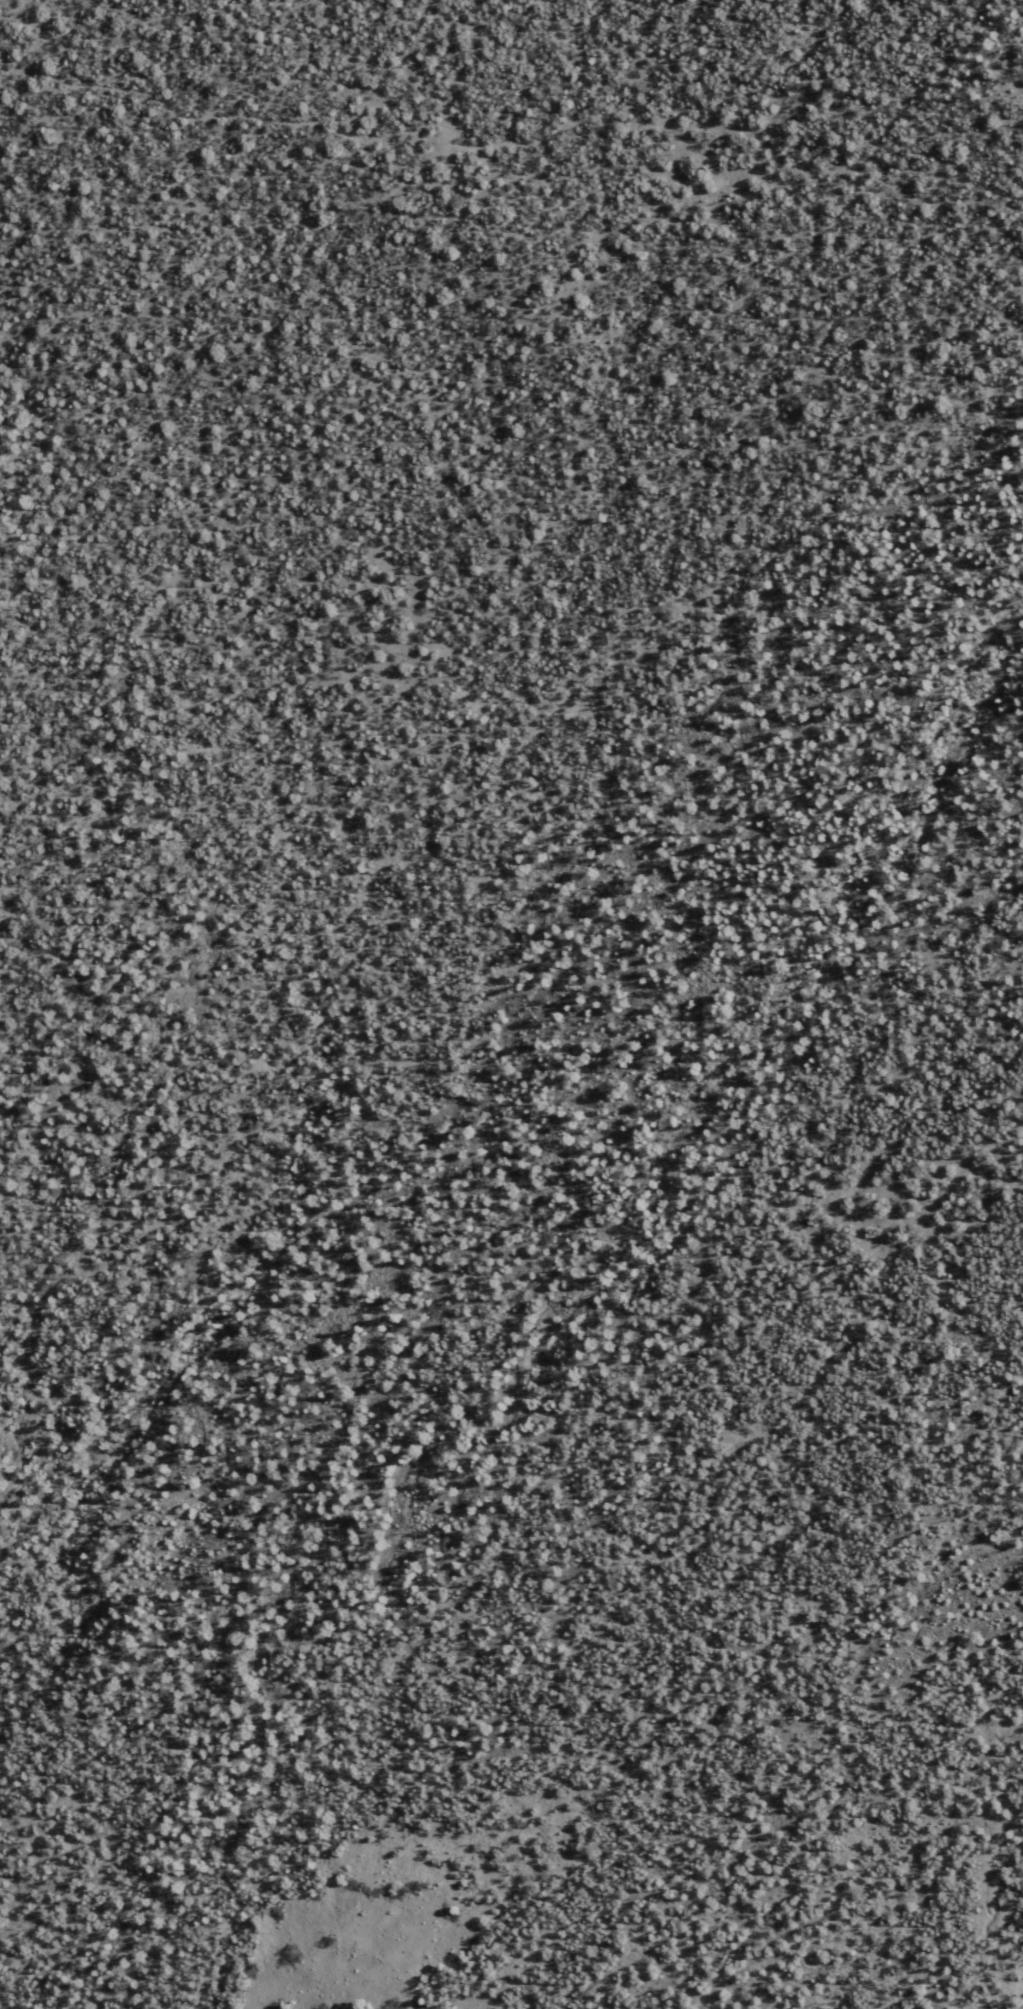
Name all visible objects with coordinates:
road: (324, 213)

